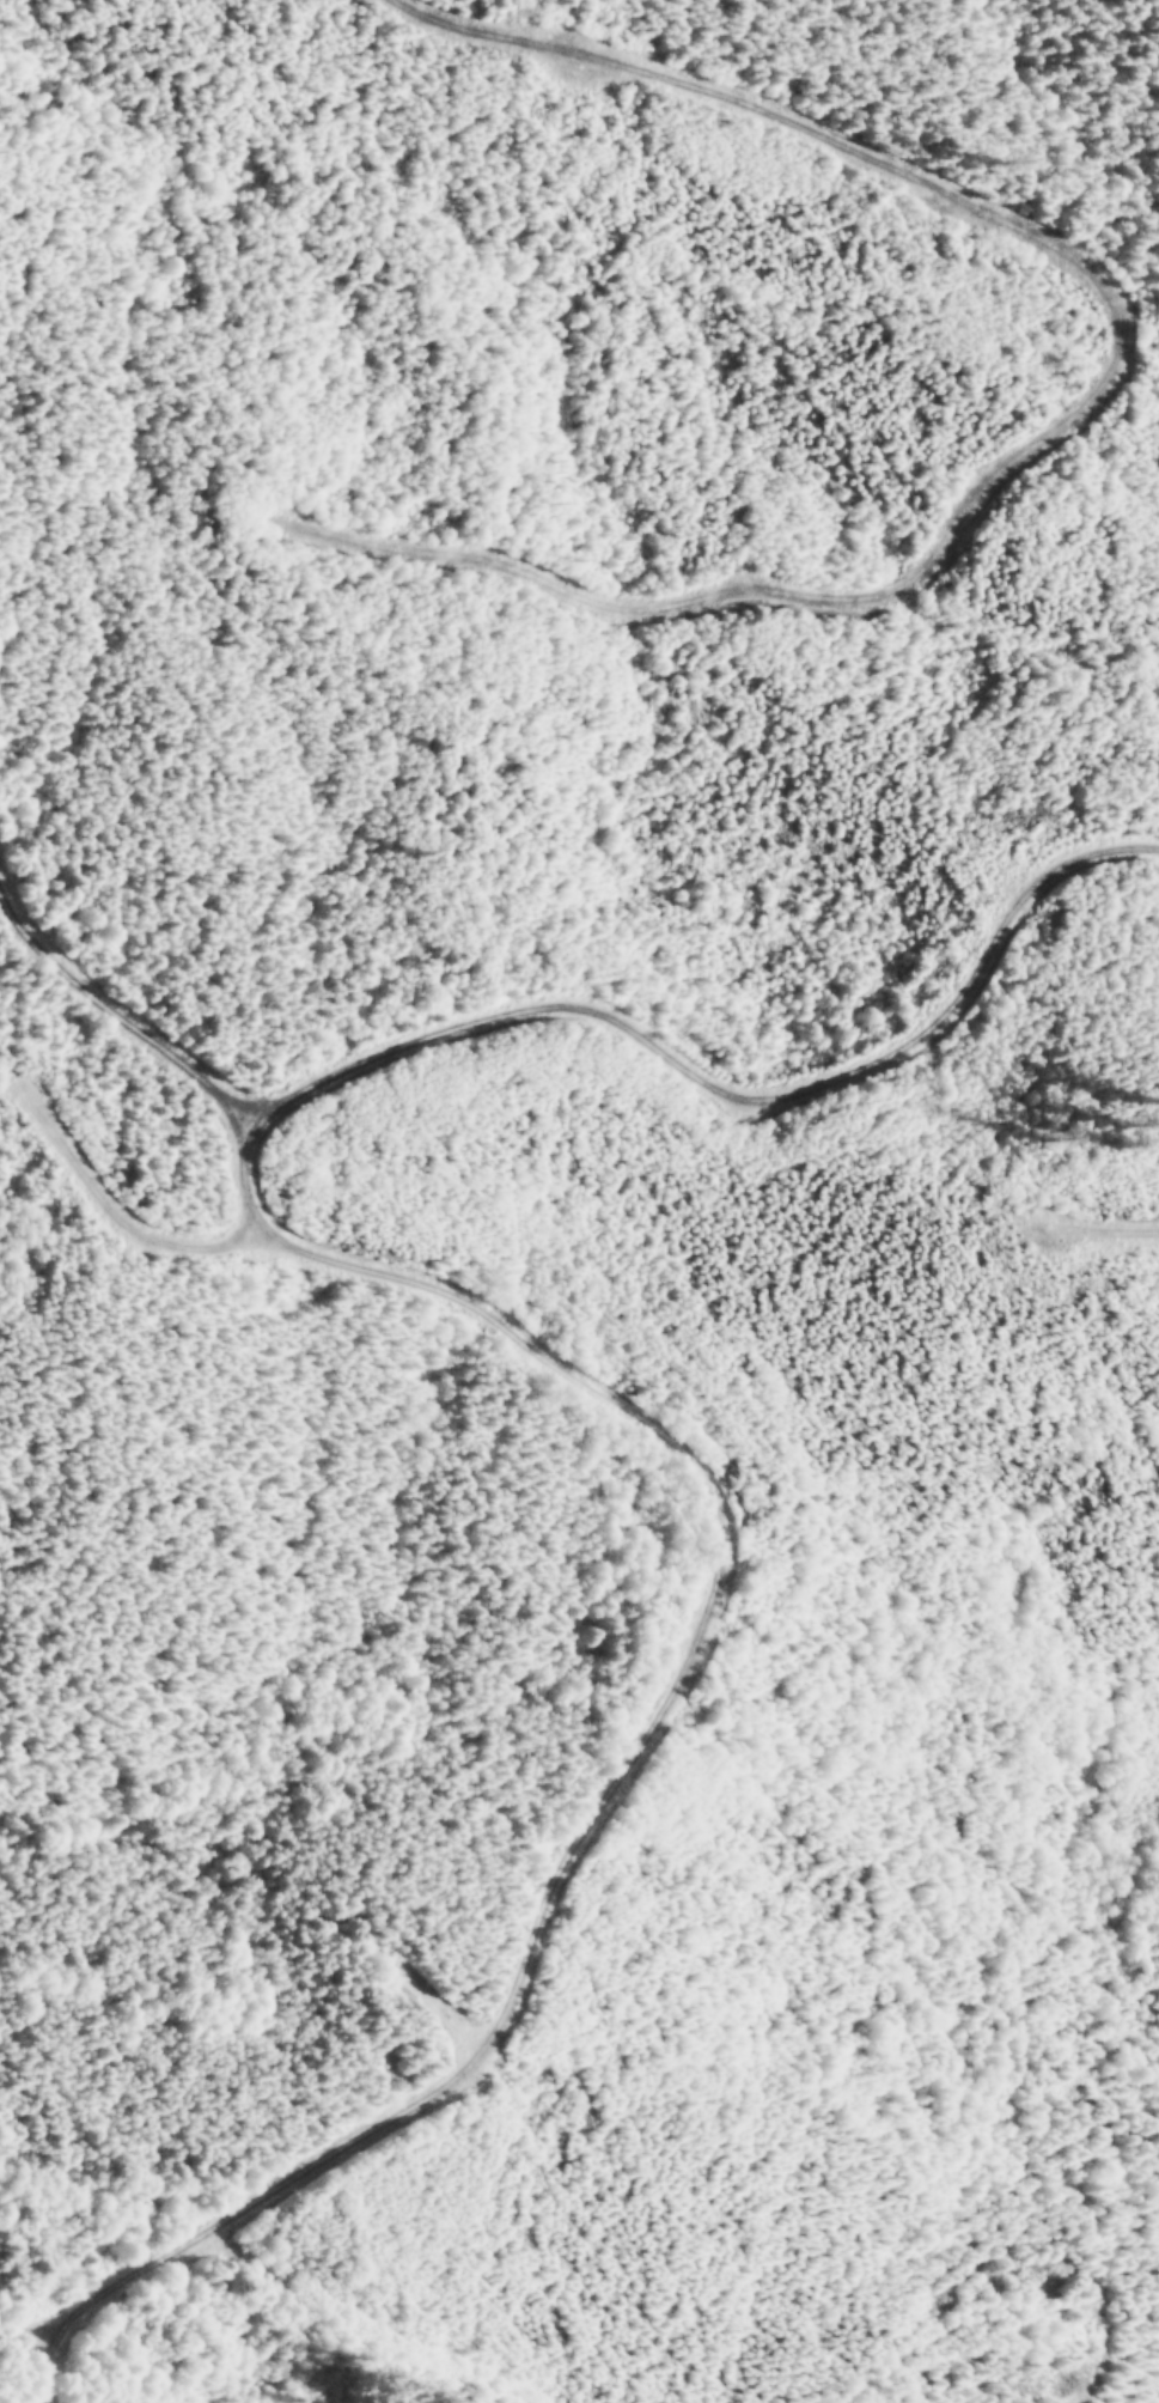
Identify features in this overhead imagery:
road: (487, 1370)

